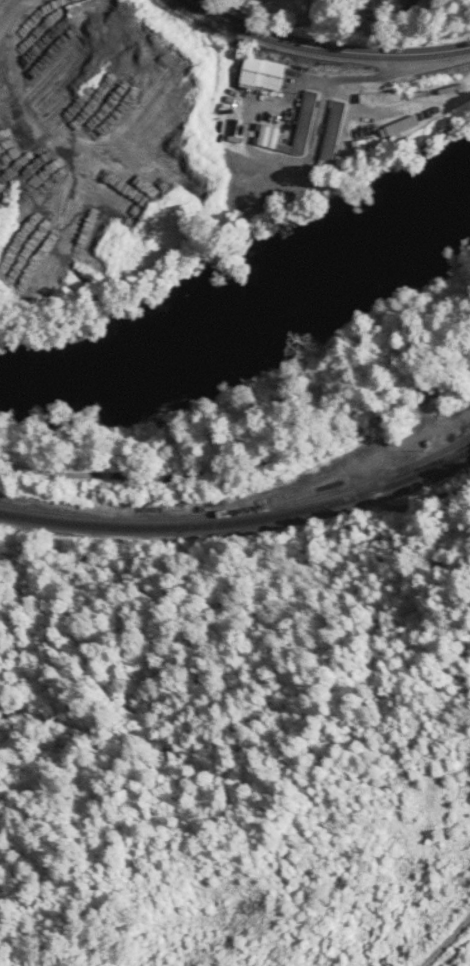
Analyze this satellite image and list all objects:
building: (412, 2)
road: (322, 50)
building: (262, 73)
building: (392, 96)
building: (308, 106)
building: (402, 125)
building: (333, 134)
river: (252, 332)
railway: (433, 455)
road: (244, 463)
railway: (241, 508)
railway: (239, 519)
road: (426, 918)

